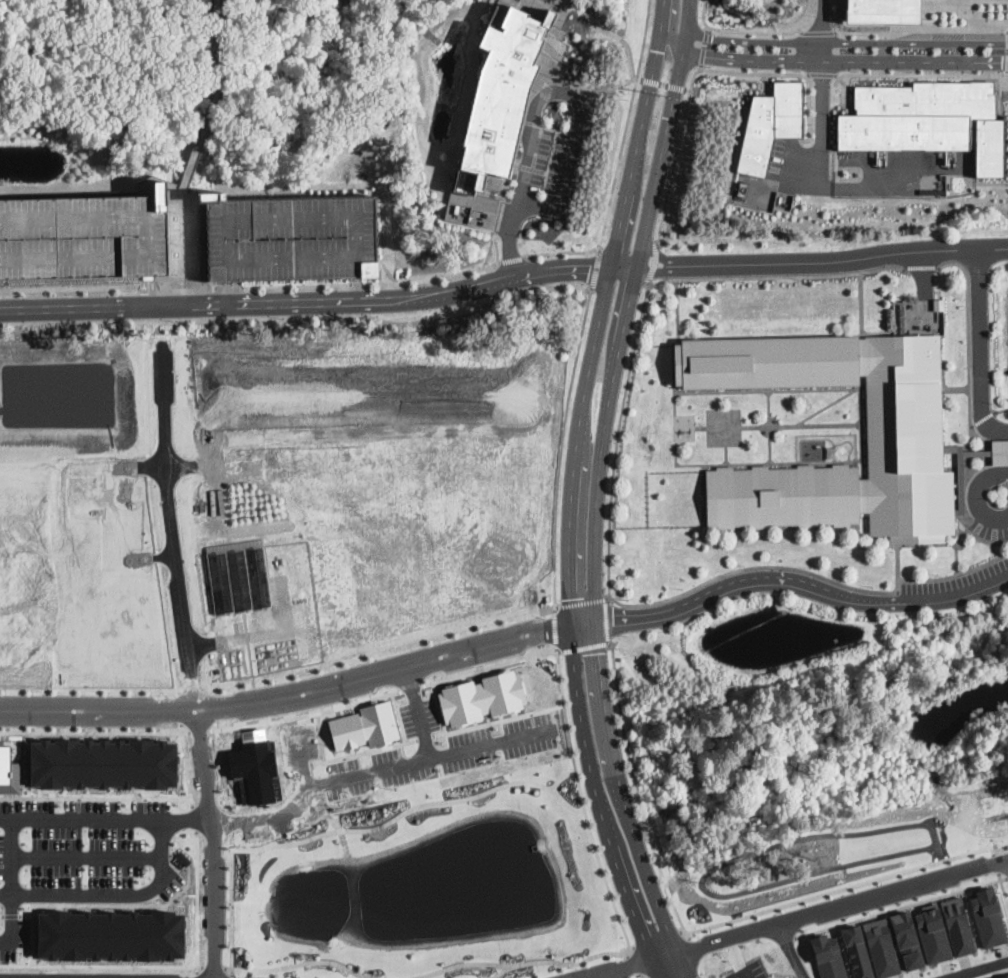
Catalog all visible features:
road: (561, 2)
road: (939, 6)
building: (882, 11)
road: (822, 21)
road: (921, 25)
road: (740, 31)
road: (819, 32)
road: (612, 34)
road: (846, 43)
road: (705, 47)
road: (1007, 50)
road: (817, 60)
road: (700, 69)
road: (821, 73)
road: (919, 73)
road: (990, 75)
road: (632, 78)
road: (640, 79)
road: (650, 81)
road: (988, 81)
road: (663, 85)
road: (676, 87)
road: (578, 88)
building: (500, 89)
road: (688, 89)
road: (849, 90)
road: (213, 99)
road: (579, 101)
building: (927, 121)
road: (628, 125)
building: (772, 125)
road: (820, 169)
road: (991, 182)
building: (289, 237)
parking garage: (289, 237)
building: (79, 238)
parking garage: (79, 238)
road: (511, 239)
road: (180, 241)
road: (564, 251)
road: (656, 257)
road: (512, 258)
road: (843, 259)
road: (654, 265)
road: (919, 267)
road: (597, 269)
road: (653, 270)
road: (778, 275)
road: (374, 283)
road: (919, 285)
road: (148, 286)
road: (186, 286)
road: (230, 286)
road: (69, 287)
road: (356, 289)
road: (149, 290)
road: (223, 292)
road: (319, 301)
road: (861, 304)
building: (938, 304)
road: (677, 310)
road: (599, 311)
road: (626, 311)
road: (967, 333)
road: (977, 348)
road: (673, 376)
road: (860, 385)
road: (955, 387)
road: (849, 390)
road: (721, 391)
road: (1001, 410)
building: (904, 417)
road: (982, 419)
road: (829, 424)
road: (754, 426)
road: (698, 427)
road: (971, 438)
road: (618, 441)
road: (562, 449)
building: (834, 452)
building: (1000, 452)
road: (725, 455)
road: (749, 462)
road: (853, 462)
road: (864, 467)
building: (959, 482)
road: (975, 496)
road: (173, 518)
road: (981, 539)
road: (906, 544)
road: (956, 558)
road: (752, 567)
road: (897, 567)
road: (954, 574)
road: (800, 584)
road: (610, 623)
road: (557, 629)
road: (560, 671)
road: (300, 692)
road: (600, 697)
road: (307, 714)
road: (201, 730)
road: (95, 731)
road: (581, 731)
road: (480, 739)
building: (105, 764)
road: (186, 764)
road: (362, 767)
building: (8, 770)
road: (637, 792)
road: (95, 797)
road: (106, 818)
road: (193, 818)
road: (351, 828)
road: (214, 841)
road: (991, 850)
road: (87, 855)
parking lot: (79, 857)
park: (814, 859)
road: (644, 860)
road: (995, 863)
road: (1007, 877)
road: (845, 886)
road: (12, 887)
road: (1002, 889)
road: (113, 894)
road: (188, 895)
road: (630, 896)
road: (197, 901)
road: (92, 904)
road: (842, 904)
road: (901, 907)
road: (26, 914)
road: (2, 915)
road: (12, 915)
building: (988, 917)
building: (958, 926)
building: (932, 934)
building: (111, 935)
road: (659, 939)
building: (907, 940)
road: (631, 945)
building: (881, 947)
road: (790, 951)
building: (856, 952)
road: (612, 953)
building: (828, 957)
road: (303, 962)
road: (631, 963)
road: (101, 965)
road: (214, 965)
road: (631, 965)
road: (684, 965)
road: (228, 967)
road: (656, 968)
road: (974, 968)
road: (232, 971)
road: (496, 975)
road: (637, 975)
road: (197, 976)
road: (232, 976)
building: (1003, 976)
road: (647, 977)
road: (945, 977)

